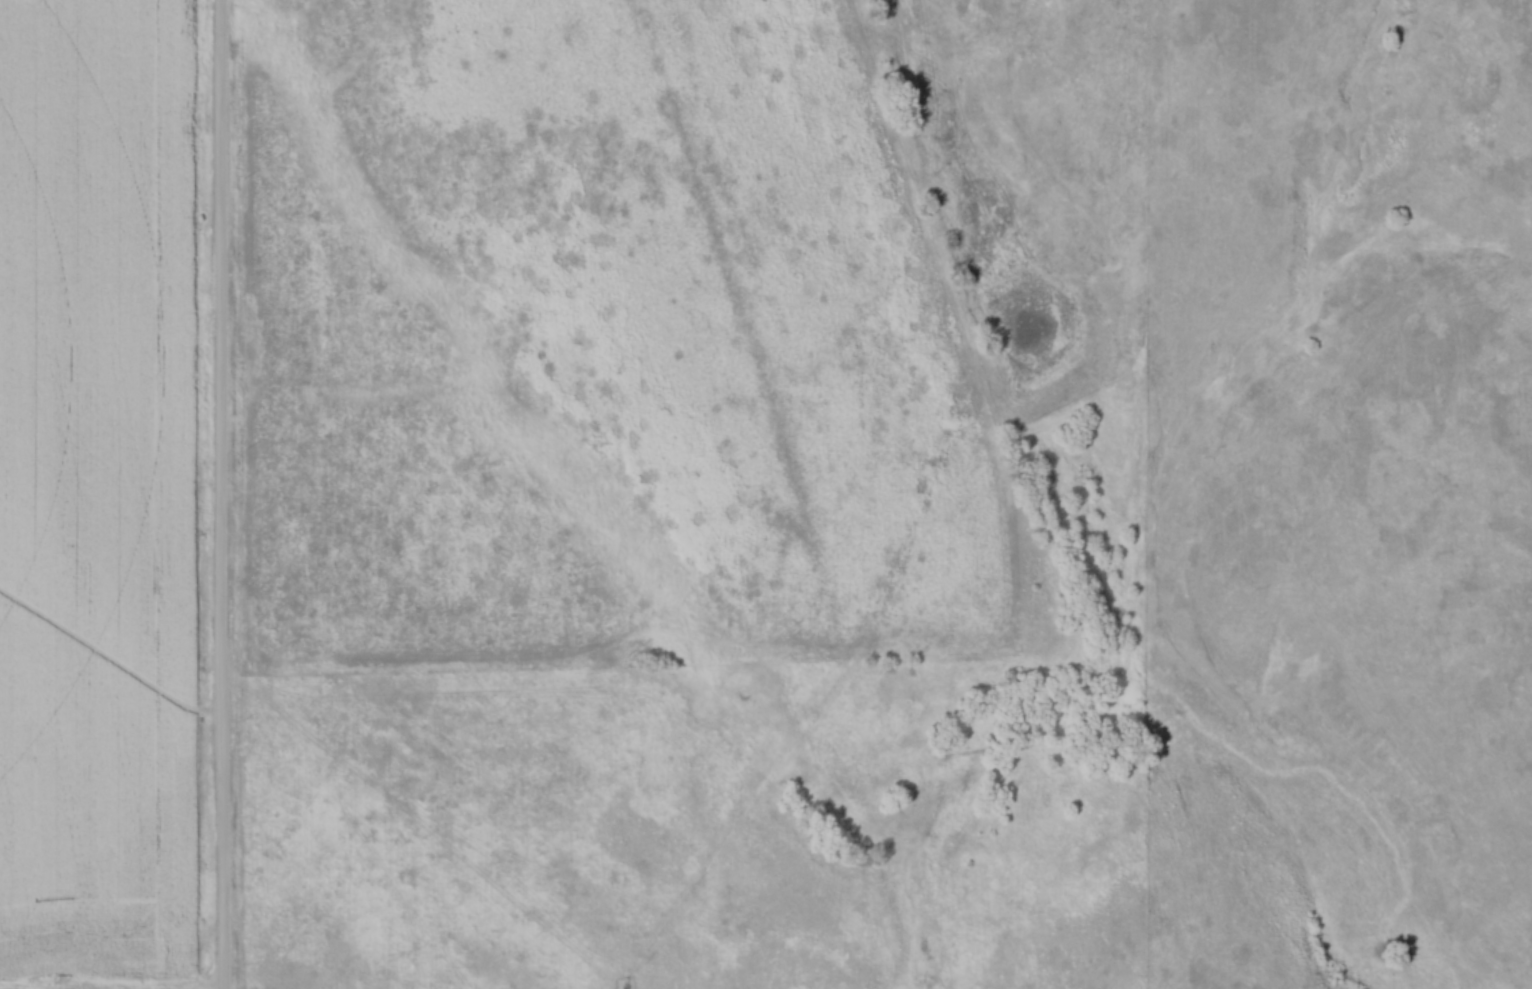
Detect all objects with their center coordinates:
road: (223, 494)
road: (219, 987)

